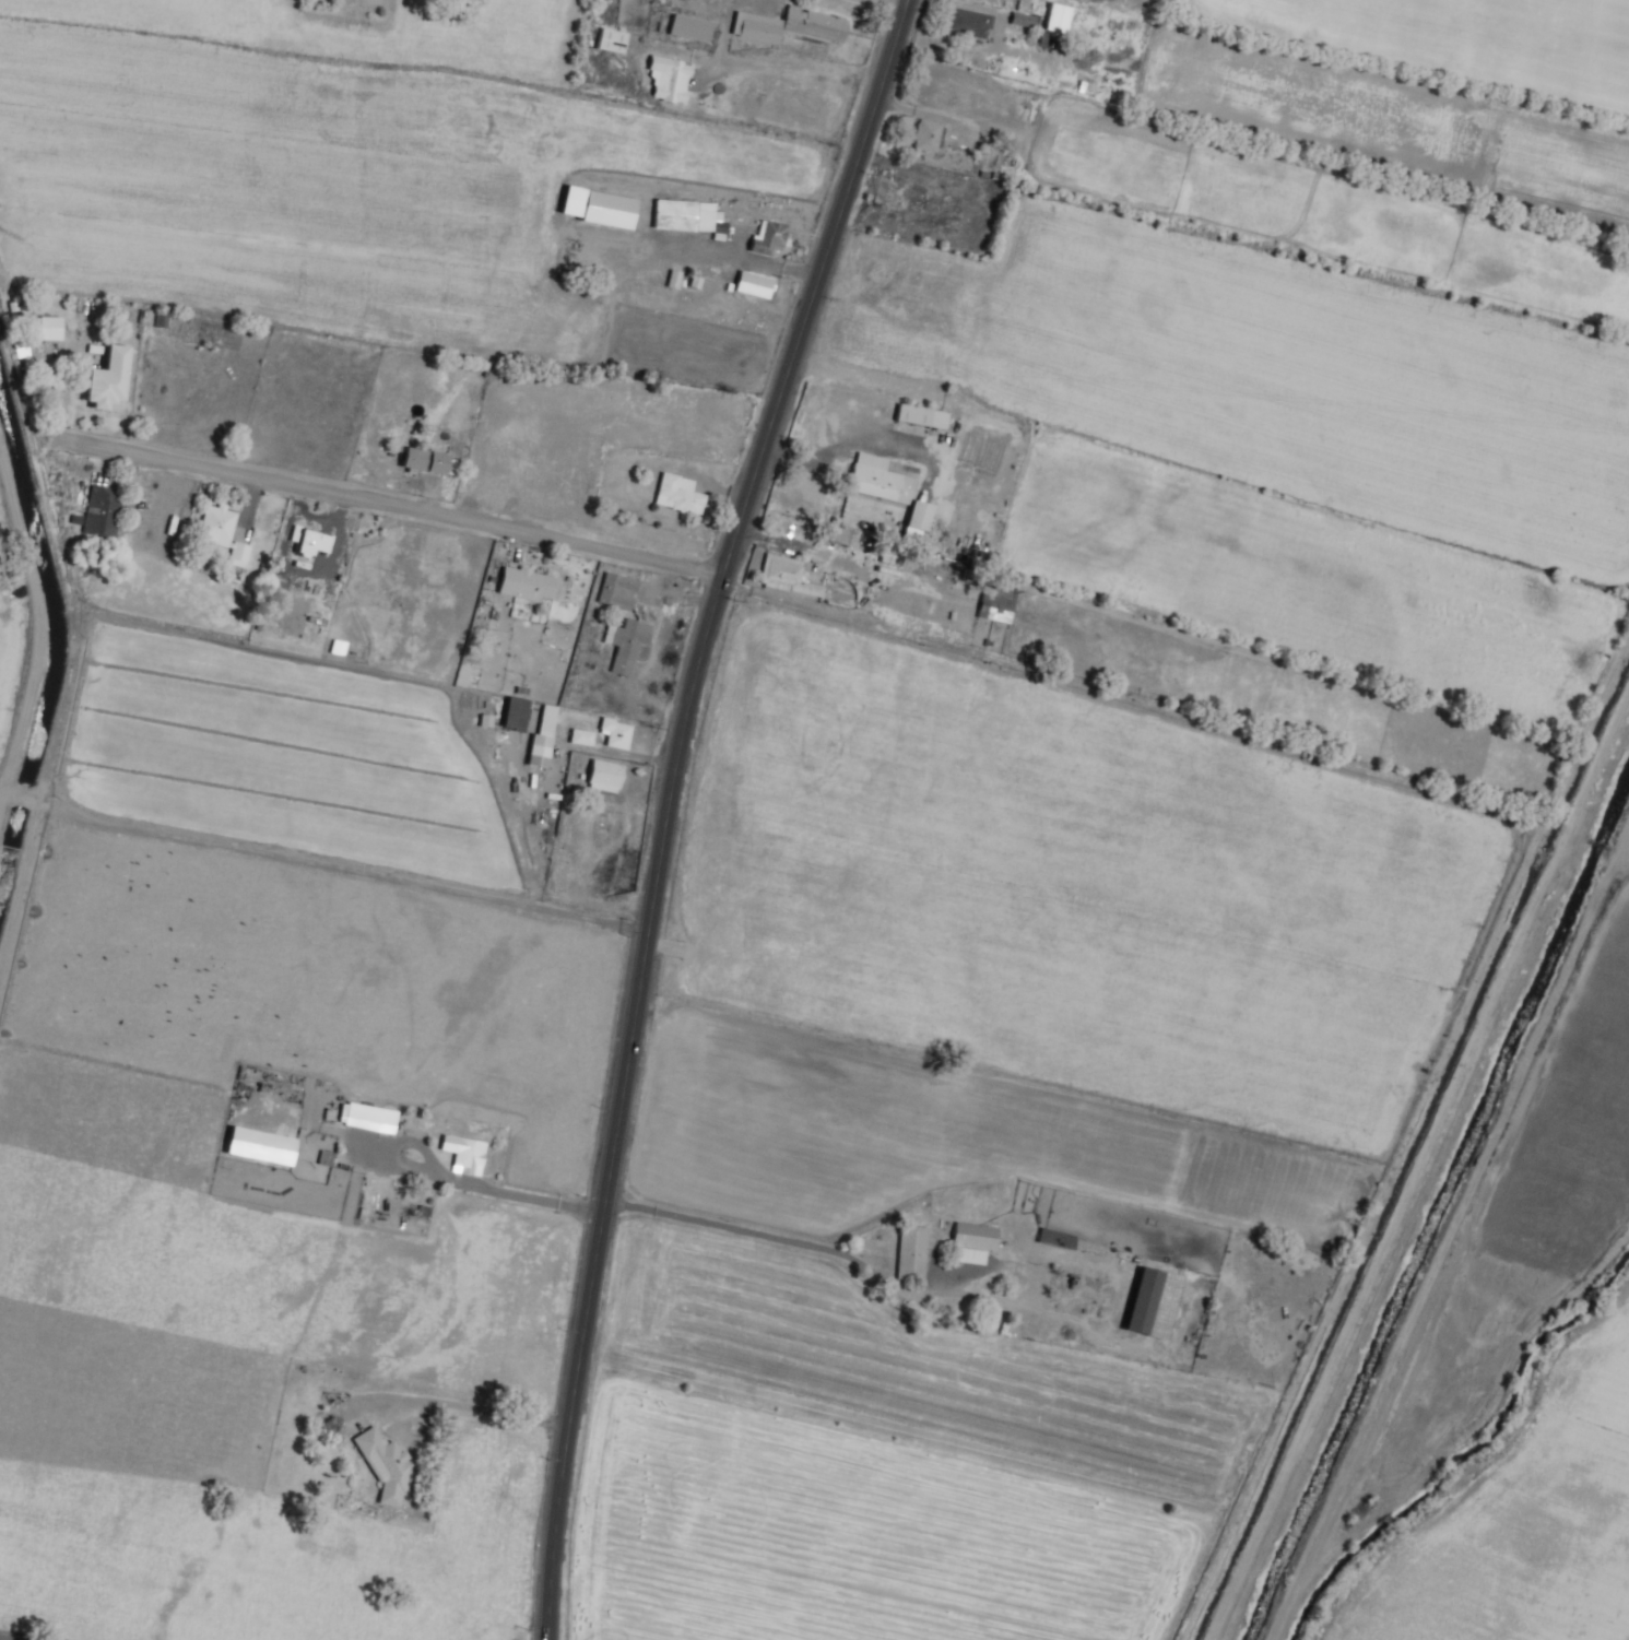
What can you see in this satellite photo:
building: (1026, 0)
road: (890, 3)
building: (1055, 16)
building: (1022, 19)
building: (969, 24)
building: (689, 26)
building: (791, 27)
building: (611, 39)
building: (669, 80)
building: (930, 137)
building: (957, 162)
building: (949, 179)
building: (914, 193)
building: (598, 207)
building: (687, 216)
building: (769, 239)
building: (755, 285)
building: (48, 327)
building: (105, 381)
building: (911, 414)
building: (424, 462)
building: (878, 480)
building: (678, 495)
road: (396, 507)
building: (102, 514)
building: (834, 533)
building: (223, 534)
building: (309, 542)
building: (876, 548)
building: (787, 576)
building: (527, 585)
building: (276, 589)
building: (618, 592)
building: (993, 607)
building: (626, 645)
building: (337, 649)
building: (515, 713)
building: (617, 732)
building: (543, 734)
building: (581, 735)
building: (606, 774)
road: (669, 806)
building: (367, 1117)
building: (260, 1145)
building: (464, 1154)
building: (972, 1240)
building: (1071, 1241)
building: (912, 1253)
building: (1152, 1301)
building: (386, 1466)

